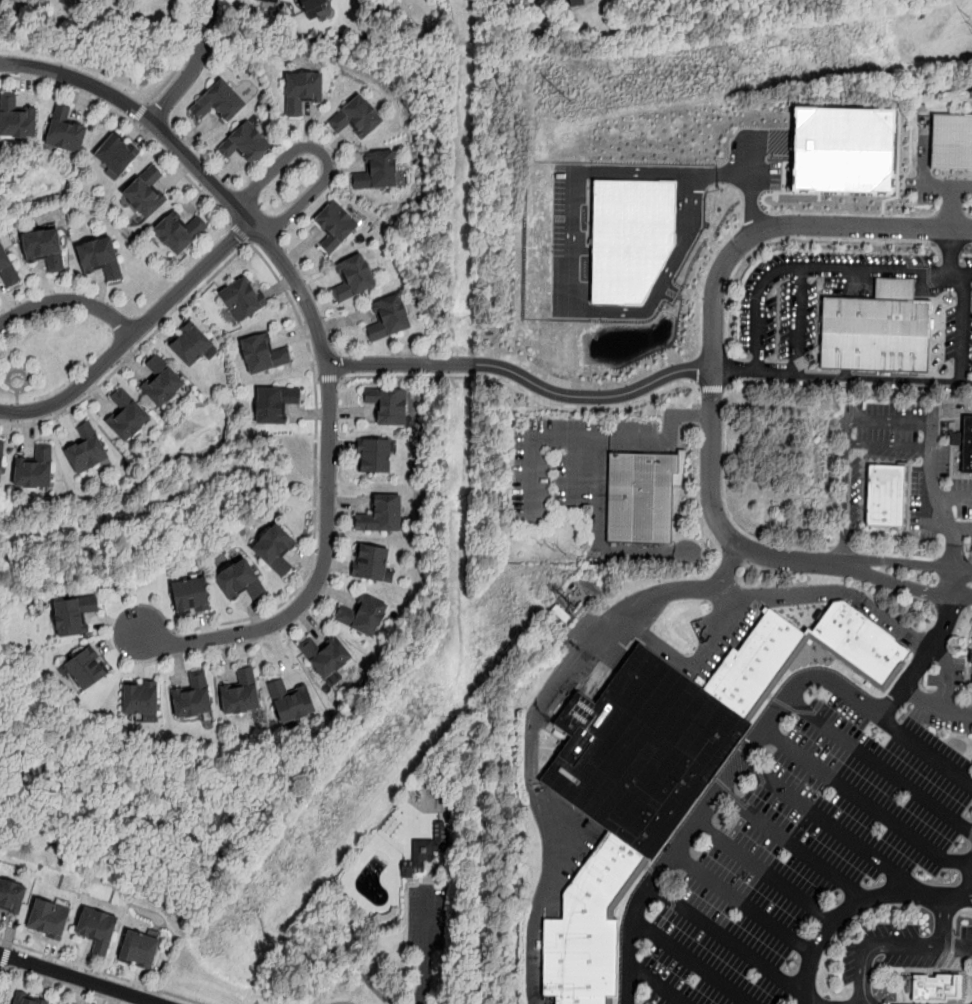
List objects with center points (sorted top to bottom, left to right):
building: (532, 0)
building: (570, 0)
building: (271, 1)
building: (311, 7)
power tower: (971, 29)
road: (194, 65)
road: (168, 79)
road: (70, 90)
building: (301, 92)
power tower: (558, 95)
building: (219, 102)
road: (140, 112)
building: (16, 117)
building: (356, 118)
building: (65, 131)
building: (951, 140)
building: (245, 145)
building: (843, 149)
road: (321, 153)
building: (116, 154)
road: (183, 171)
building: (376, 171)
road: (753, 184)
road: (940, 185)
building: (145, 193)
building: (334, 225)
road: (951, 230)
building: (179, 233)
road: (241, 233)
building: (630, 237)
road: (789, 240)
road: (950, 245)
road: (969, 246)
building: (44, 250)
building: (100, 259)
road: (572, 264)
building: (7, 267)
road: (818, 269)
building: (353, 278)
building: (242, 298)
road: (68, 301)
building: (388, 319)
road: (298, 320)
road: (796, 322)
road: (960, 328)
road: (713, 332)
road: (133, 334)
building: (872, 337)
road: (320, 339)
building: (189, 343)
building: (263, 353)
road: (400, 364)
road: (728, 368)
road: (842, 377)
road: (328, 378)
building: (161, 380)
road: (713, 388)
road: (523, 392)
road: (593, 395)
building: (274, 404)
building: (387, 406)
building: (126, 414)
road: (667, 431)
road: (876, 447)
building: (966, 447)
building: (86, 448)
building: (373, 455)
building: (1, 457)
road: (929, 461)
building: (34, 469)
road: (950, 497)
building: (882, 498)
building: (637, 500)
road: (728, 504)
road: (846, 505)
building: (381, 514)
road: (963, 531)
road: (843, 547)
power tower: (553, 549)
building: (275, 550)
road: (896, 551)
road: (954, 557)
road: (971, 560)
building: (370, 563)
road: (898, 563)
road: (727, 569)
road: (962, 569)
building: (240, 581)
road: (896, 583)
road: (952, 583)
building: (190, 597)
road: (961, 597)
road: (969, 611)
building: (73, 614)
building: (362, 615)
building: (857, 641)
road: (589, 650)
building: (324, 654)
fountain: (812, 655)
road: (923, 661)
building: (753, 663)
building: (85, 669)
building: (240, 693)
building: (190, 698)
building: (140, 699)
building: (291, 700)
road: (936, 708)
road: (927, 750)
building: (641, 751)
road: (879, 766)
road: (717, 797)
road: (868, 806)
road: (833, 830)
parking lot: (817, 842)
road: (795, 848)
building: (424, 852)
road: (764, 876)
building: (11, 897)
road: (744, 904)
road: (856, 905)
road: (965, 912)
building: (48, 916)
parking lot: (415, 920)
road: (944, 923)
building: (585, 926)
building: (96, 928)
road: (729, 942)
road: (425, 947)
road: (887, 947)
building: (138, 950)
road: (4, 954)
road: (692, 963)
road: (869, 966)
road: (2, 971)
road: (101, 972)
road: (78, 978)
road: (655, 985)
building: (932, 988)
building: (27, 999)
road: (342, 1003)

